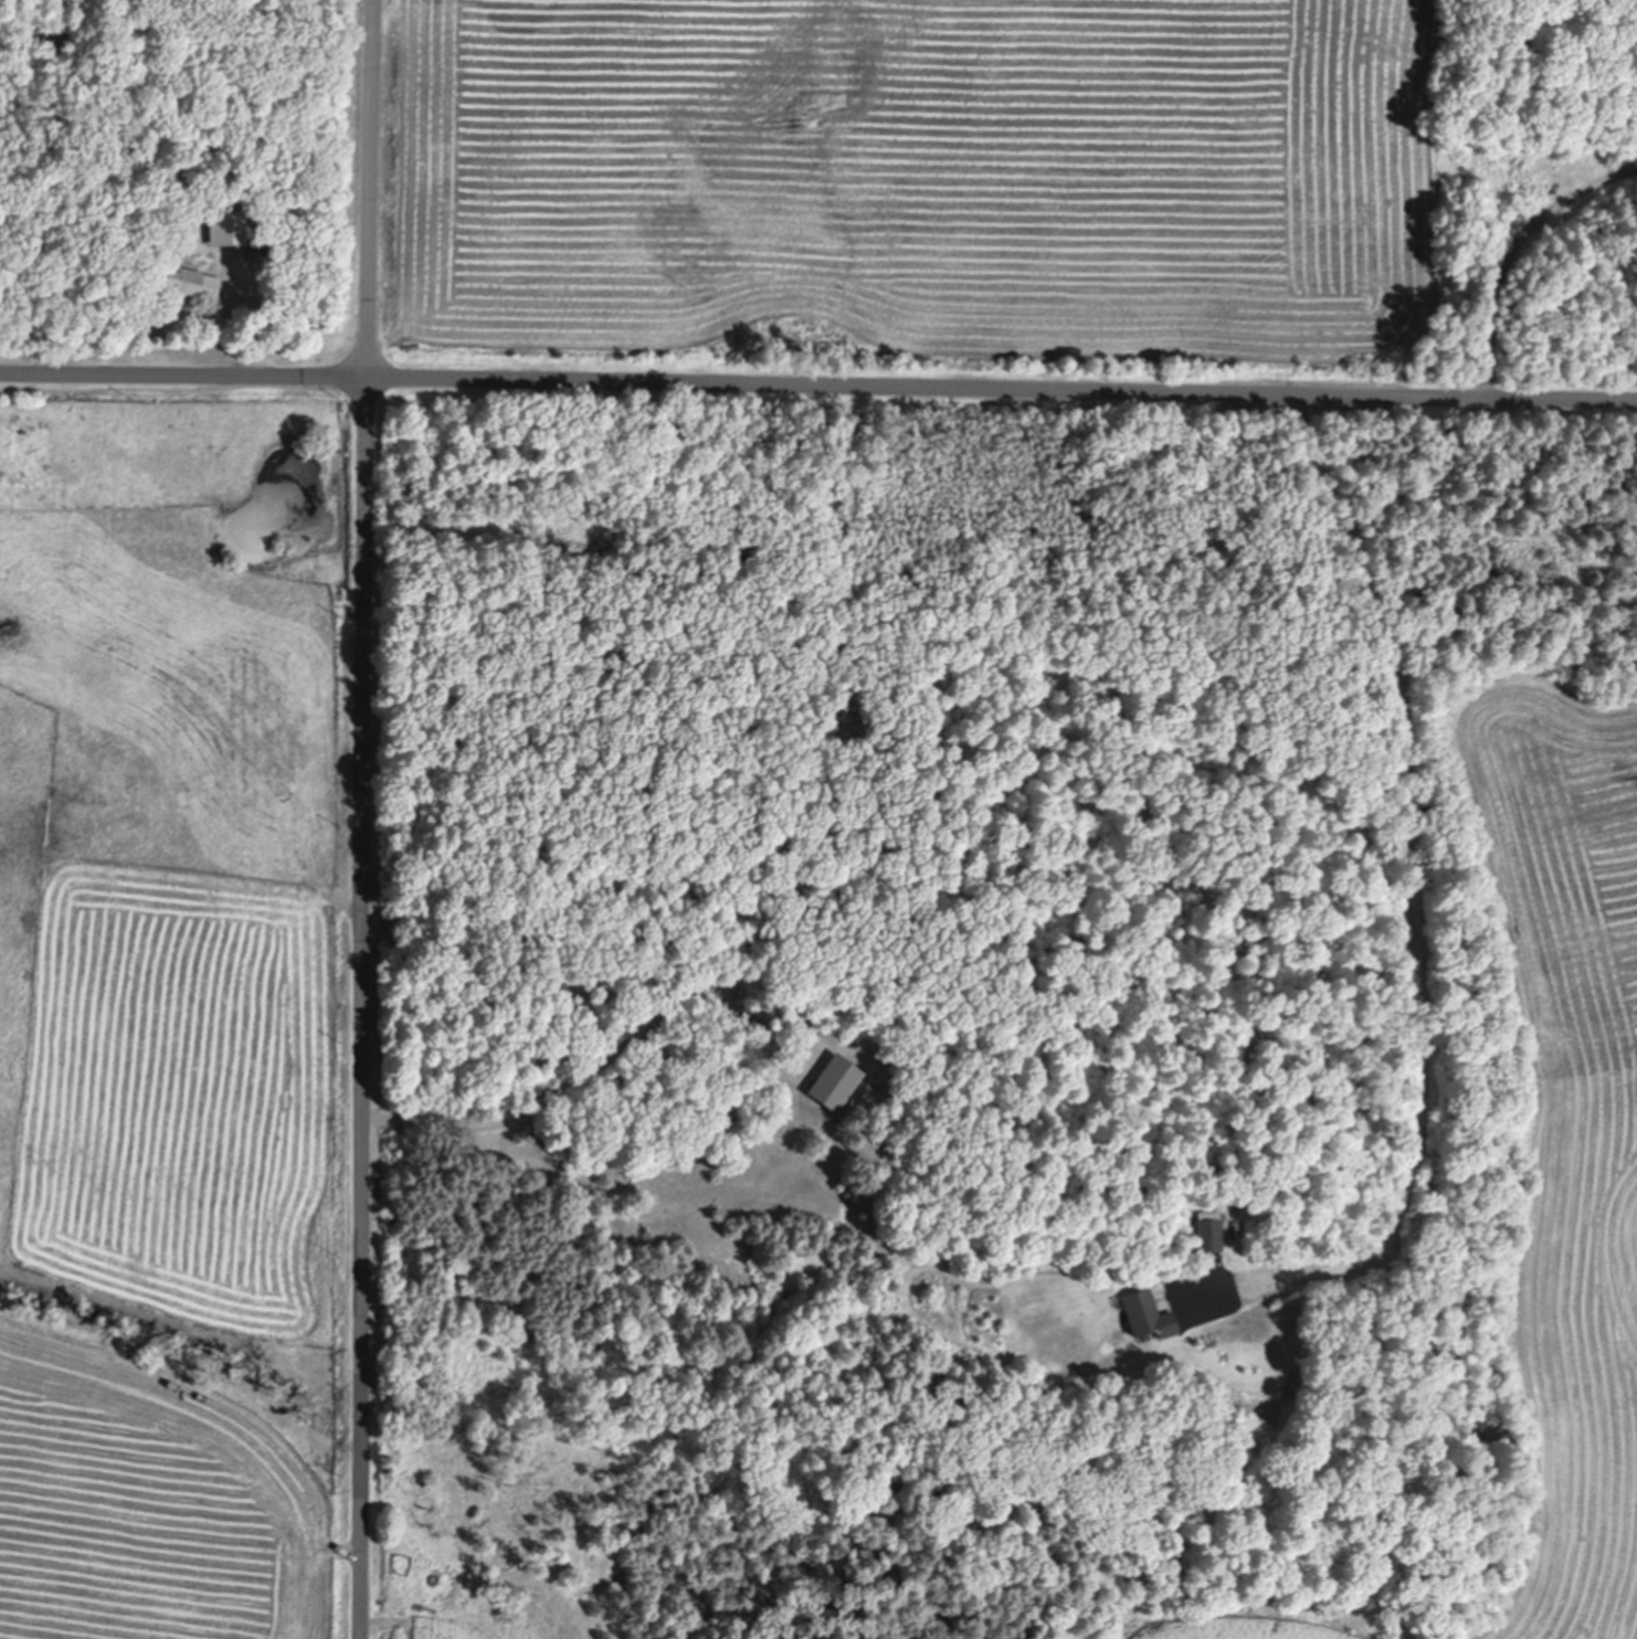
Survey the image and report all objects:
building: (266, 236)
building: (188, 279)
road: (818, 380)
road: (365, 818)
building: (837, 1079)
building: (1248, 1184)
building: (1210, 1231)
building: (1149, 1311)

